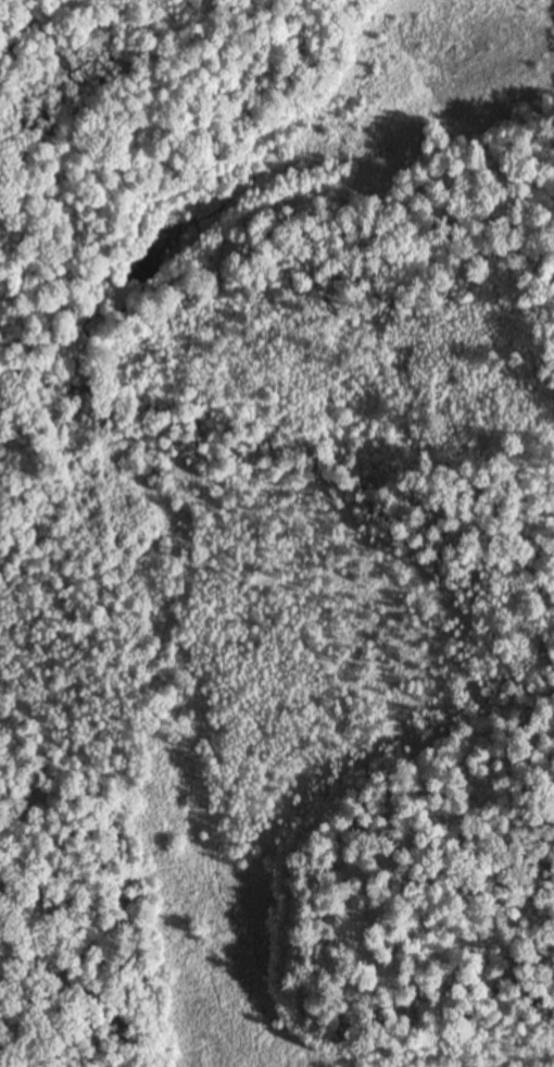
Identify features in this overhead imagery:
road: (116, 74)

